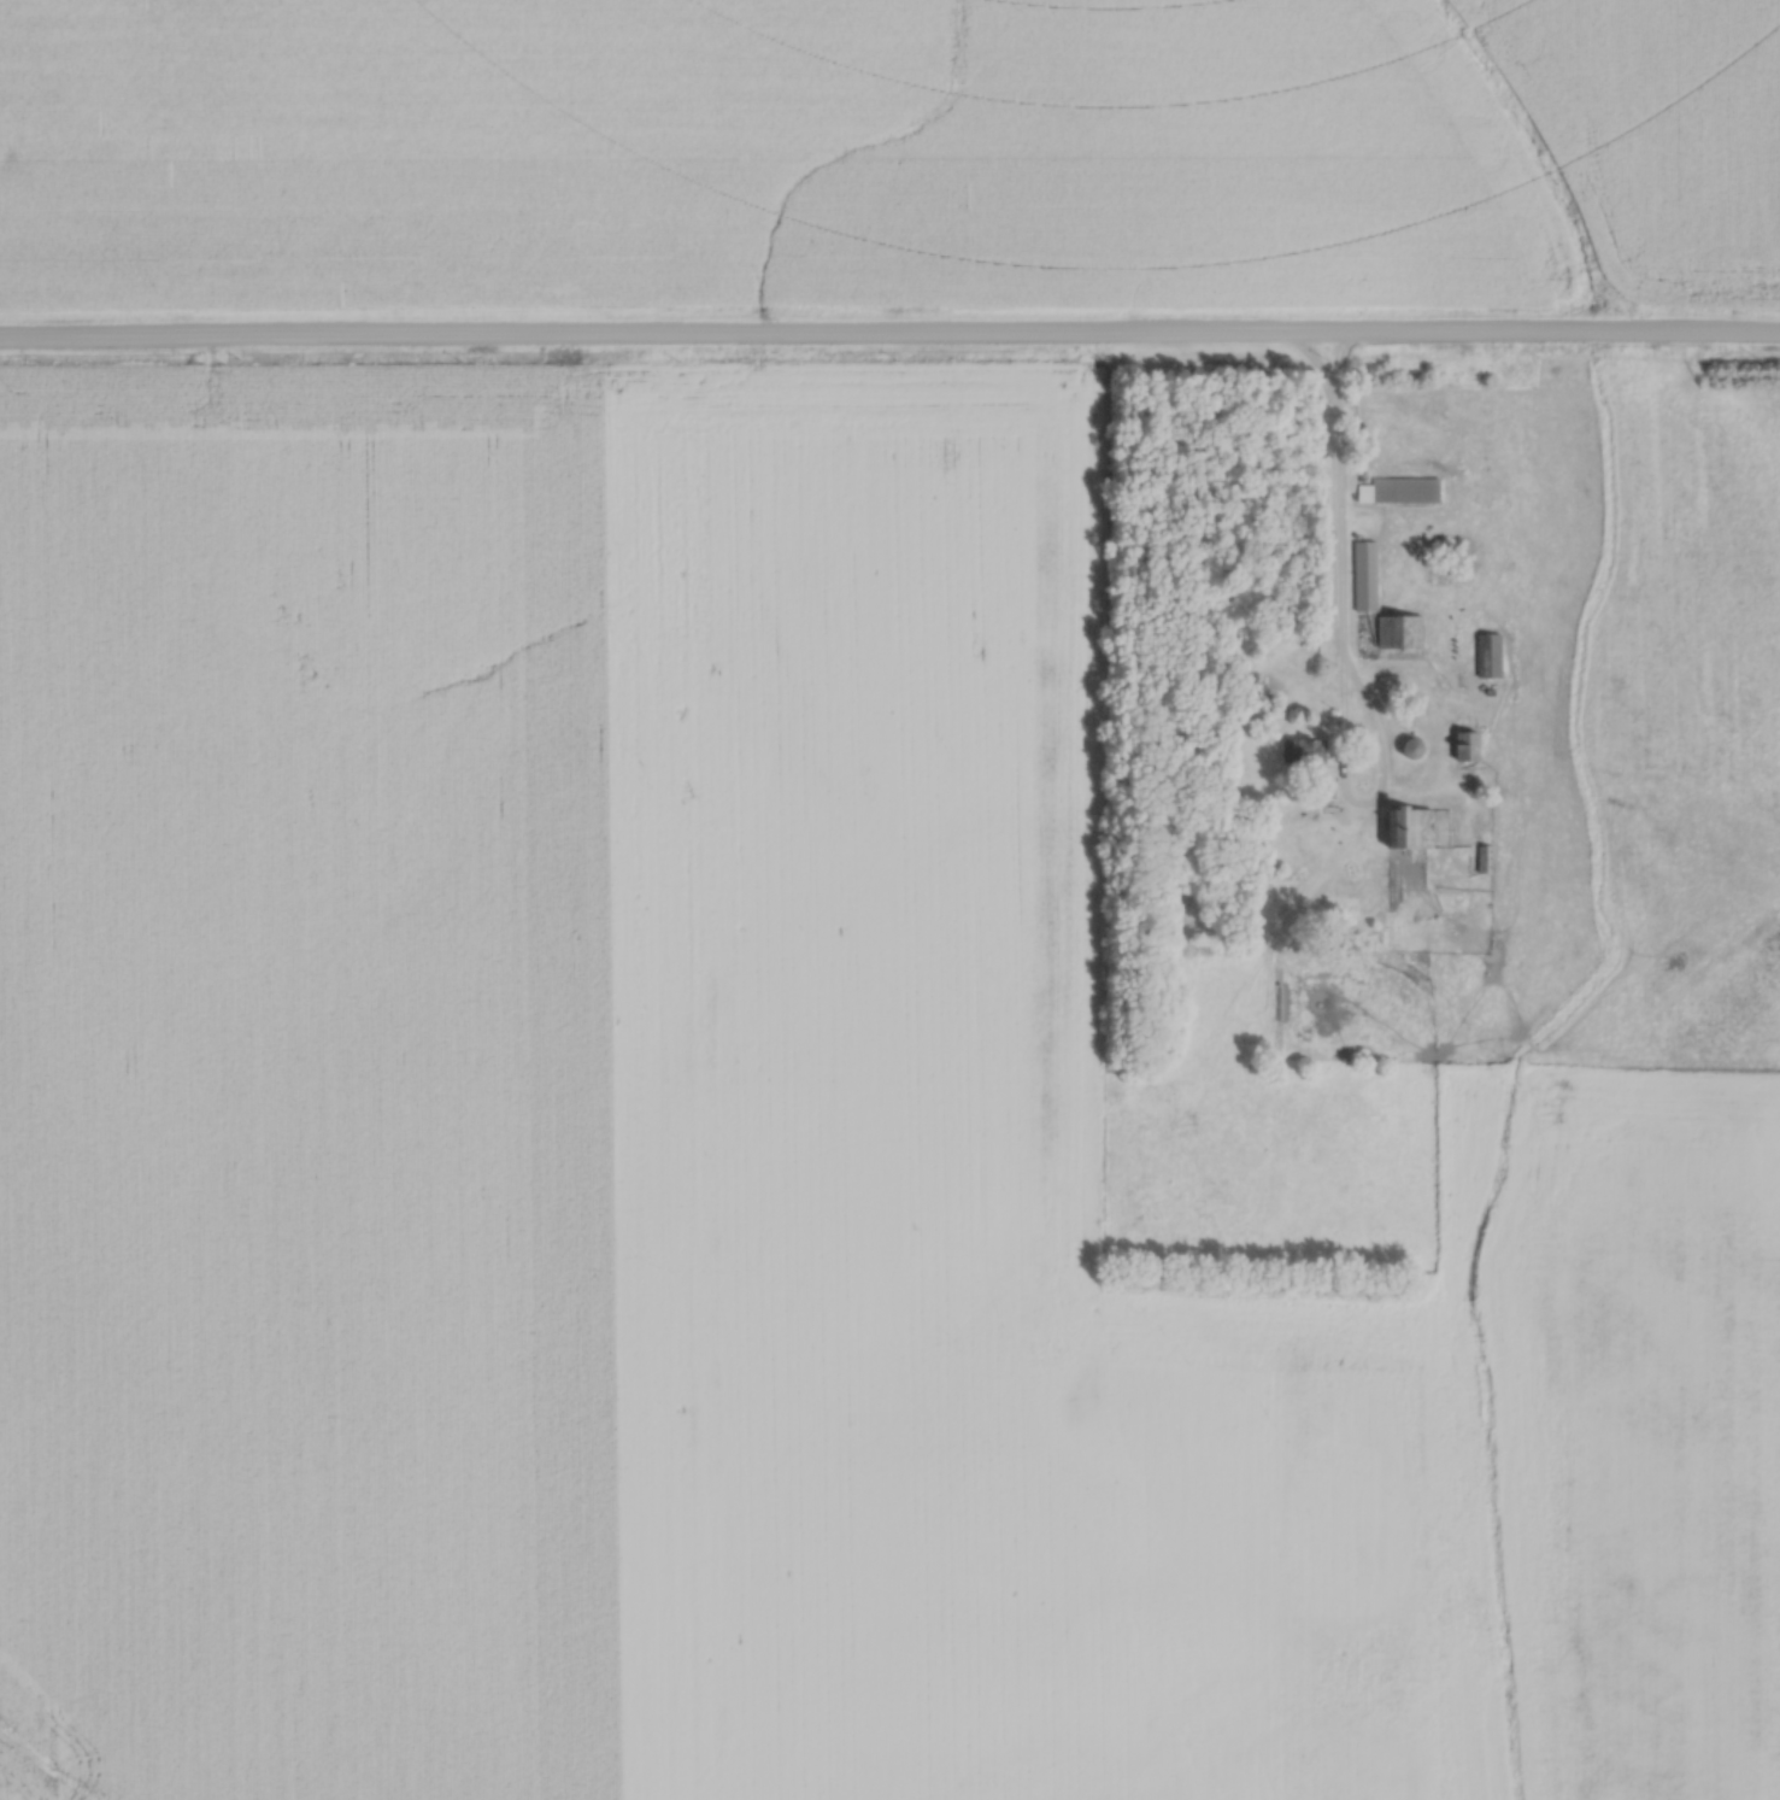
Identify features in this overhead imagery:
road: (889, 340)
road: (1314, 367)
building: (1405, 489)
road: (1341, 498)
building: (1377, 576)
building: (1403, 632)
building: (1493, 656)
building: (1309, 750)
road: (1350, 786)
building: (1409, 828)

